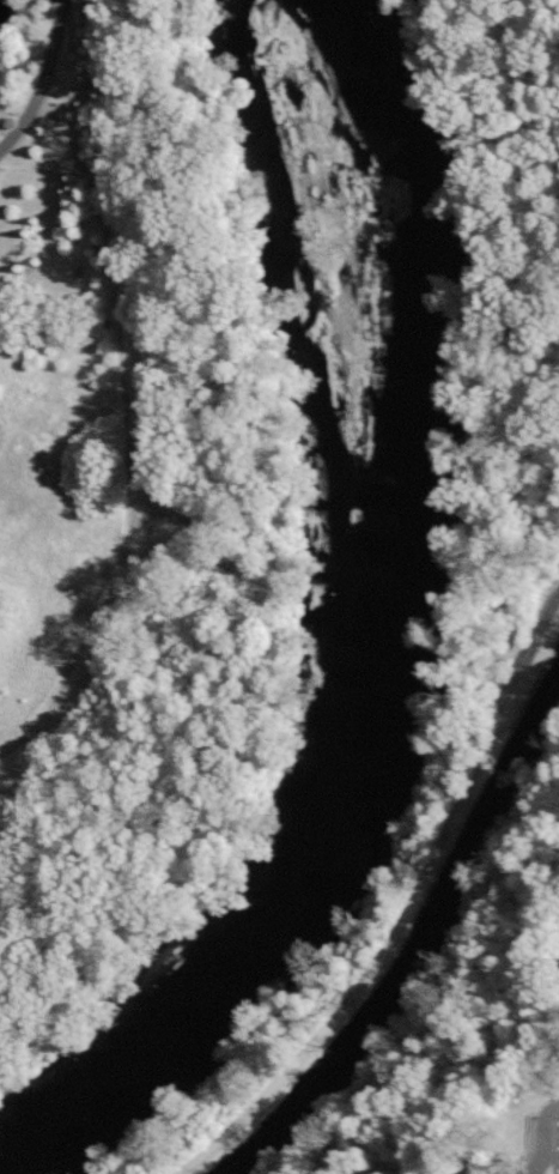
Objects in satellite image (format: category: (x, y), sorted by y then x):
road: (45, 81)
road: (510, 276)
river: (381, 643)
road: (400, 924)
road: (547, 1136)
parking lot: (548, 1136)
road: (553, 1158)
road: (537, 1170)

